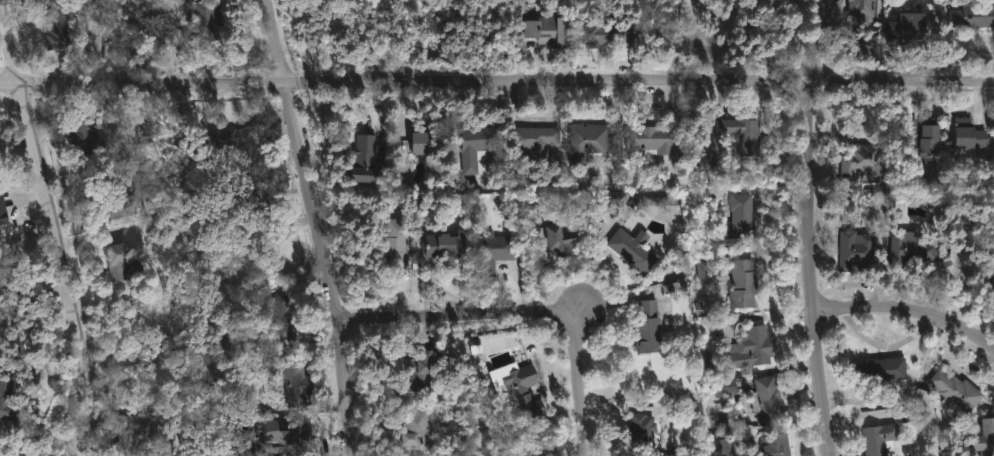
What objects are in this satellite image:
building: (861, 12)
building: (976, 15)
building: (209, 19)
building: (917, 21)
building: (60, 25)
building: (554, 32)
building: (604, 35)
road: (805, 39)
road: (818, 39)
road: (497, 80)
building: (744, 135)
building: (924, 135)
building: (87, 136)
building: (537, 139)
building: (652, 139)
building: (972, 139)
building: (588, 142)
building: (237, 143)
building: (425, 144)
building: (479, 147)
building: (366, 159)
building: (863, 160)
building: (247, 193)
building: (117, 200)
building: (634, 201)
building: (3, 213)
building: (742, 217)
road: (54, 226)
road: (319, 226)
building: (563, 237)
building: (399, 239)
building: (446, 245)
building: (921, 247)
building: (857, 248)
building: (635, 250)
building: (496, 251)
building: (123, 263)
road: (813, 267)
building: (703, 270)
building: (991, 276)
building: (745, 283)
road: (524, 310)
road: (580, 310)
road: (908, 311)
road: (767, 316)
building: (285, 318)
building: (650, 328)
building: (753, 348)
building: (884, 367)
building: (422, 371)
building: (297, 384)
building: (727, 387)
building: (526, 388)
building: (958, 390)
building: (9, 398)
building: (769, 398)
building: (137, 428)
building: (418, 429)
building: (642, 433)
building: (288, 435)
building: (881, 437)
building: (987, 438)
building: (777, 444)
building: (529, 453)
building: (417, 454)

